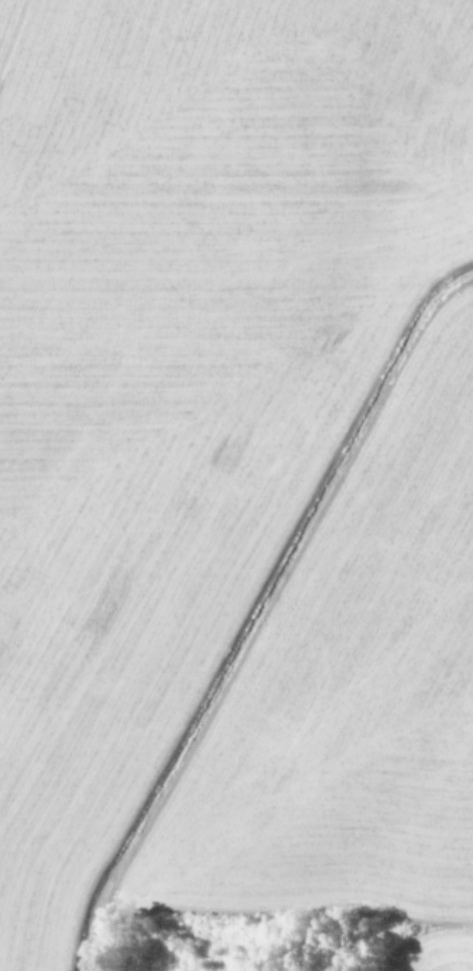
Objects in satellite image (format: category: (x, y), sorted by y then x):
crop: (236, 485)

